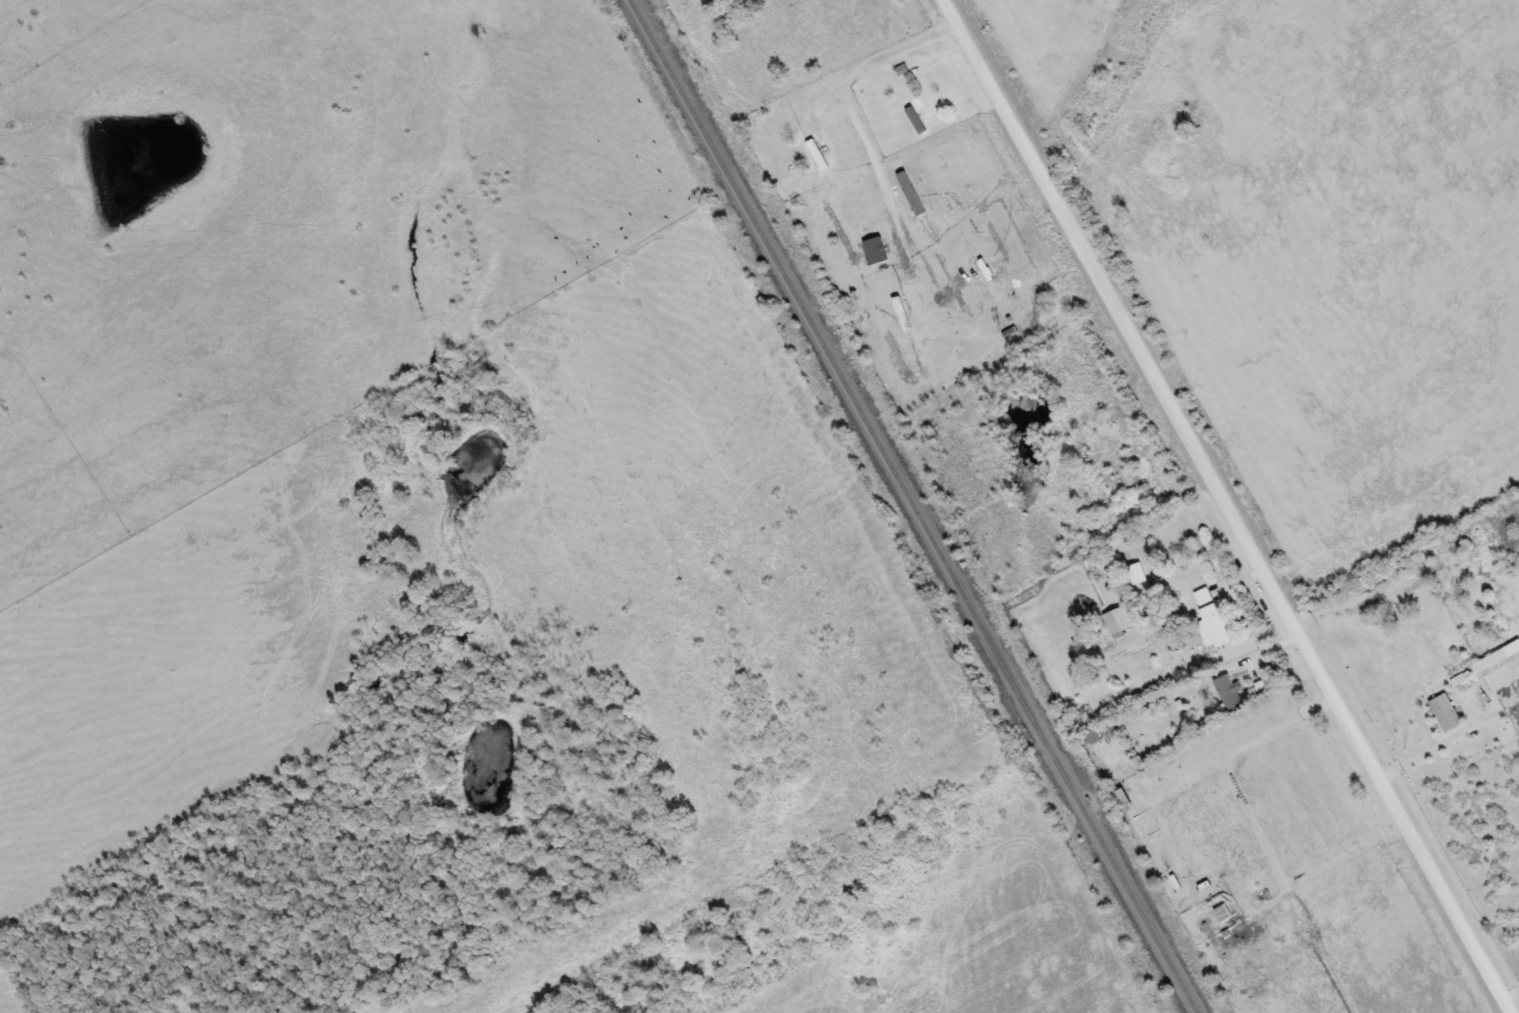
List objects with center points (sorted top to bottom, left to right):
road: (878, 57)
building: (927, 112)
building: (834, 147)
building: (816, 153)
road: (1147, 475)
road: (1171, 492)
building: (1129, 501)
railway: (914, 505)
road: (1225, 506)
building: (1135, 572)
building: (1210, 617)
building: (1117, 620)
road: (1257, 648)
building: (1489, 660)
building: (1227, 691)
building: (1444, 711)
building: (1093, 734)
road: (1438, 738)
road: (1510, 996)

